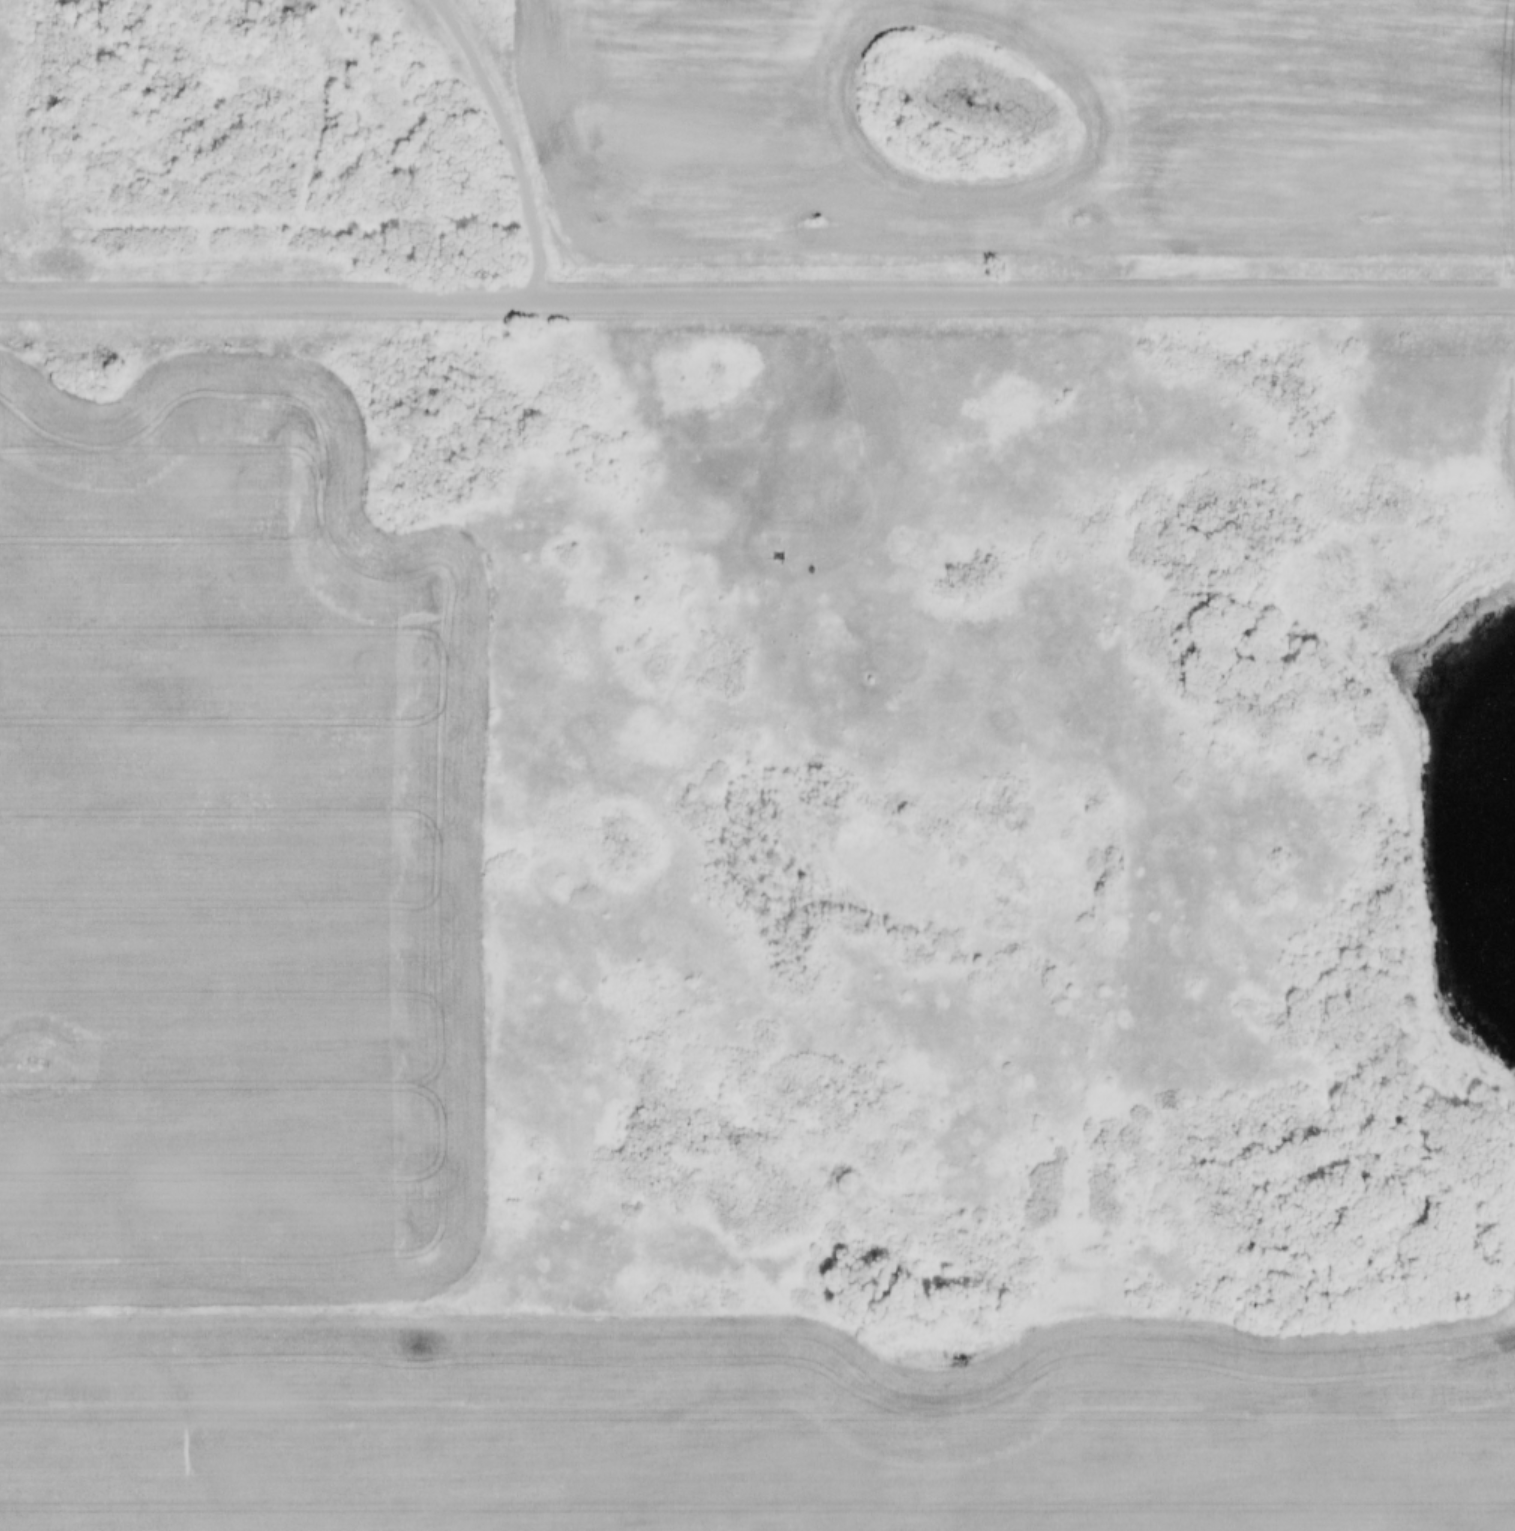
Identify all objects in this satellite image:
road: (509, 143)
road: (757, 301)

